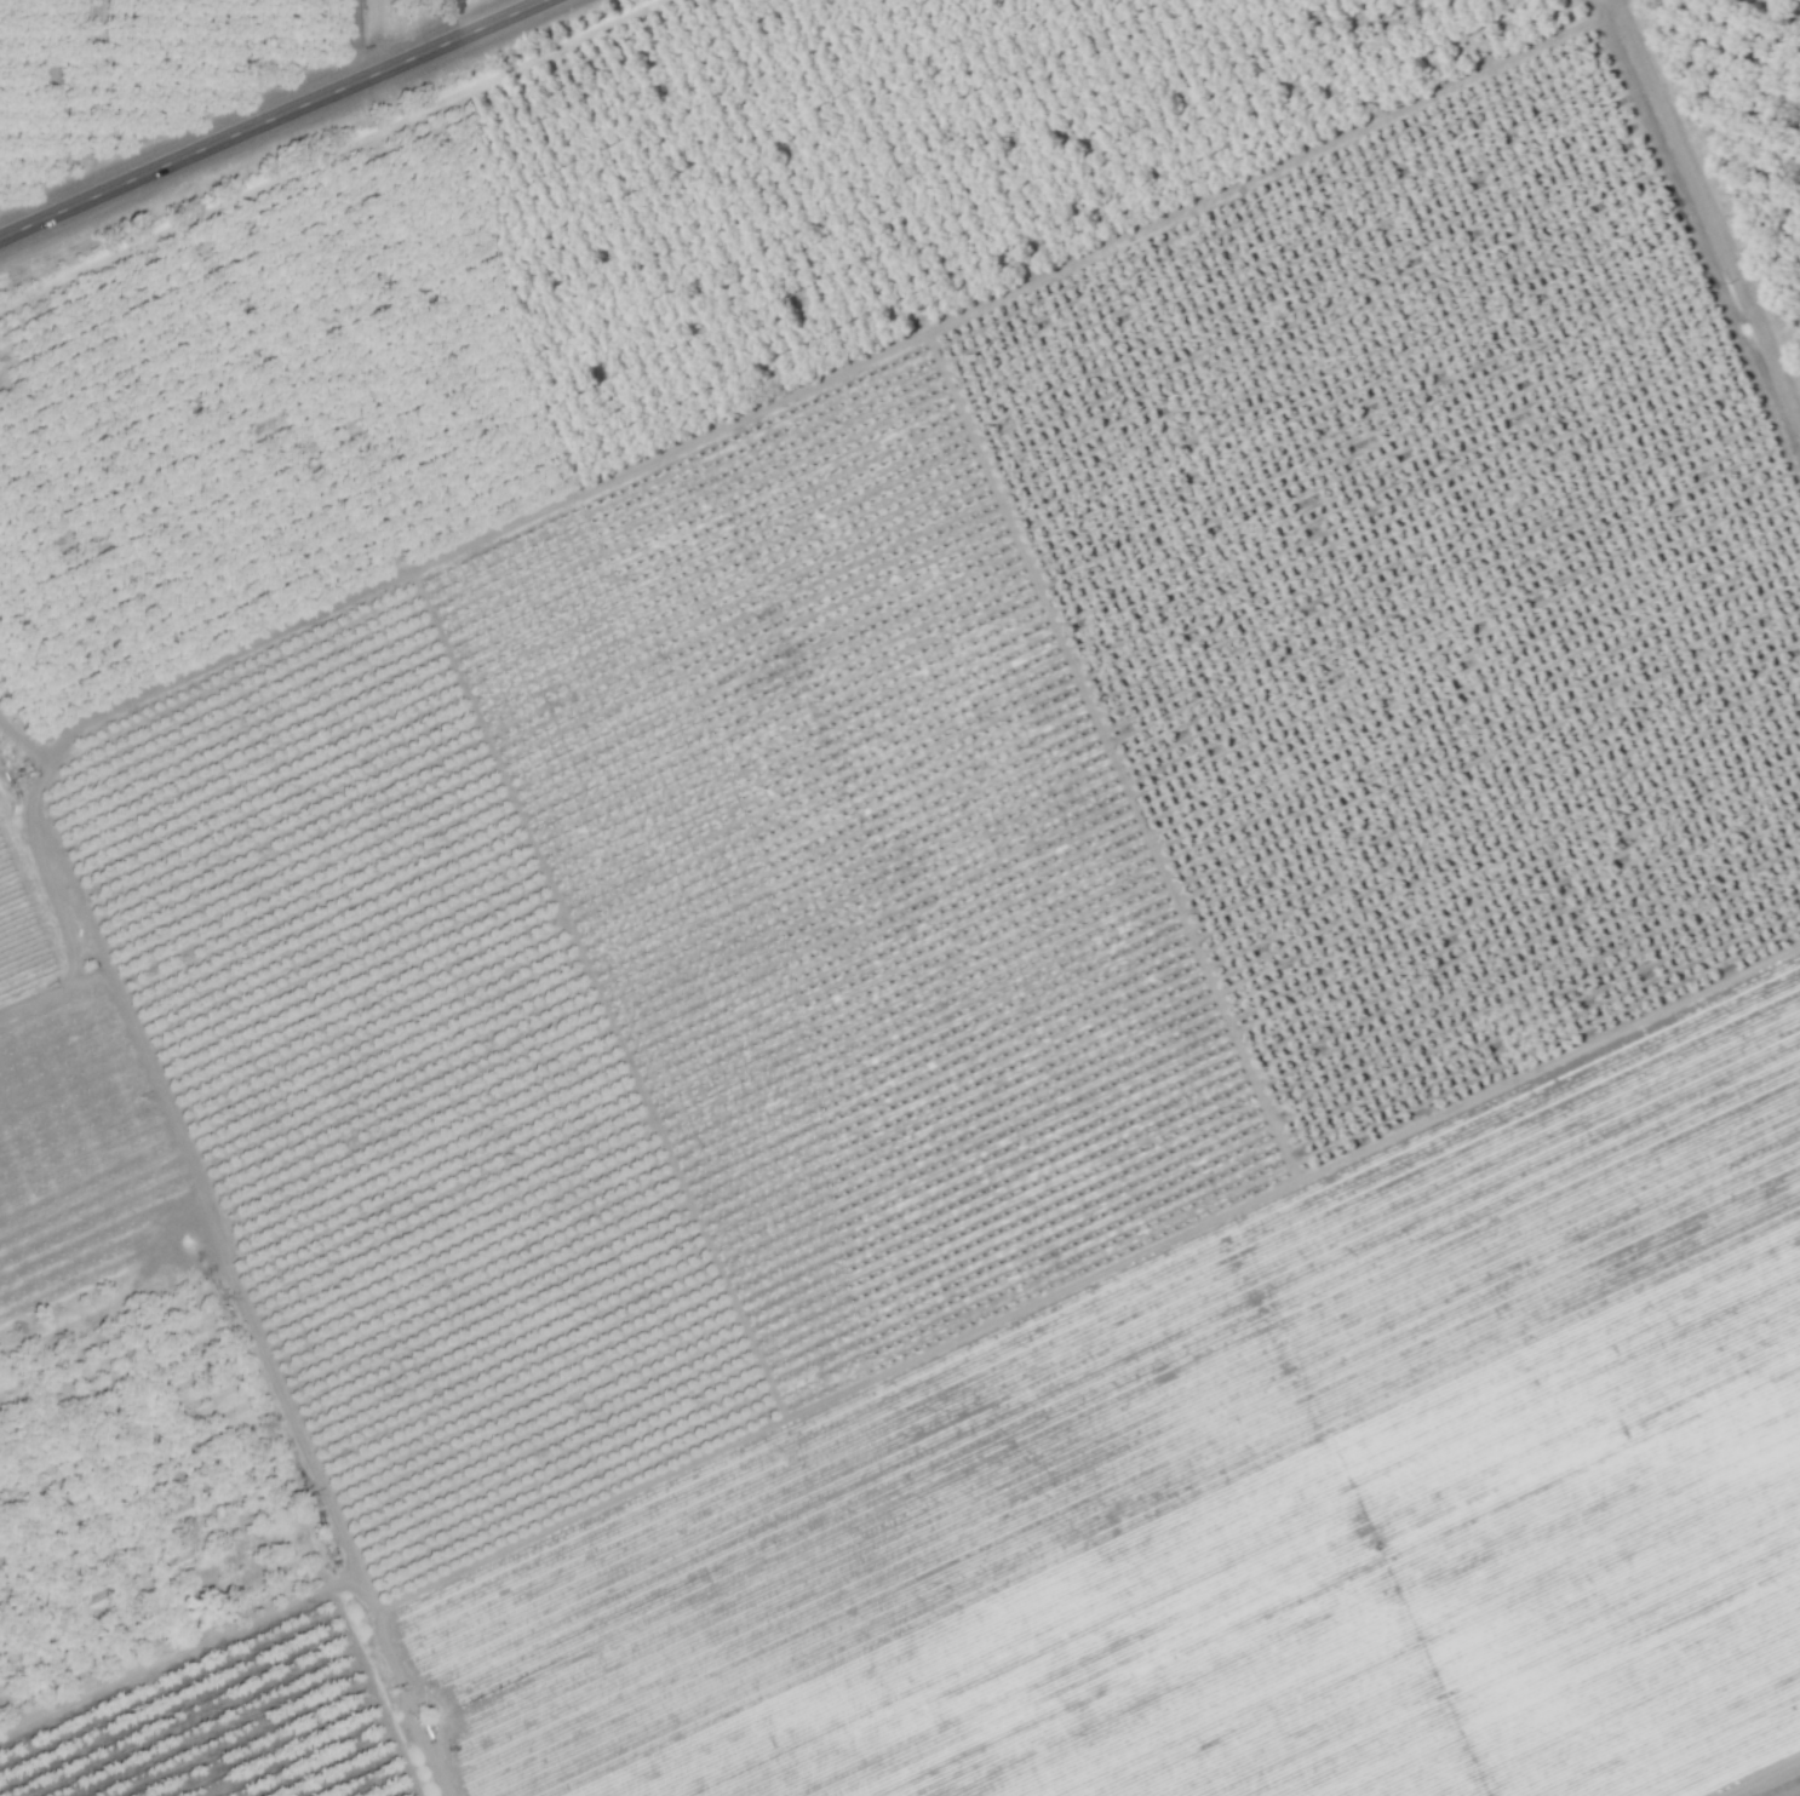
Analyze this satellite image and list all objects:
road: (357, 40)
road: (269, 119)
road: (1707, 212)
road: (721, 429)
road: (91, 960)
road: (252, 1339)
road: (1756, 1775)

